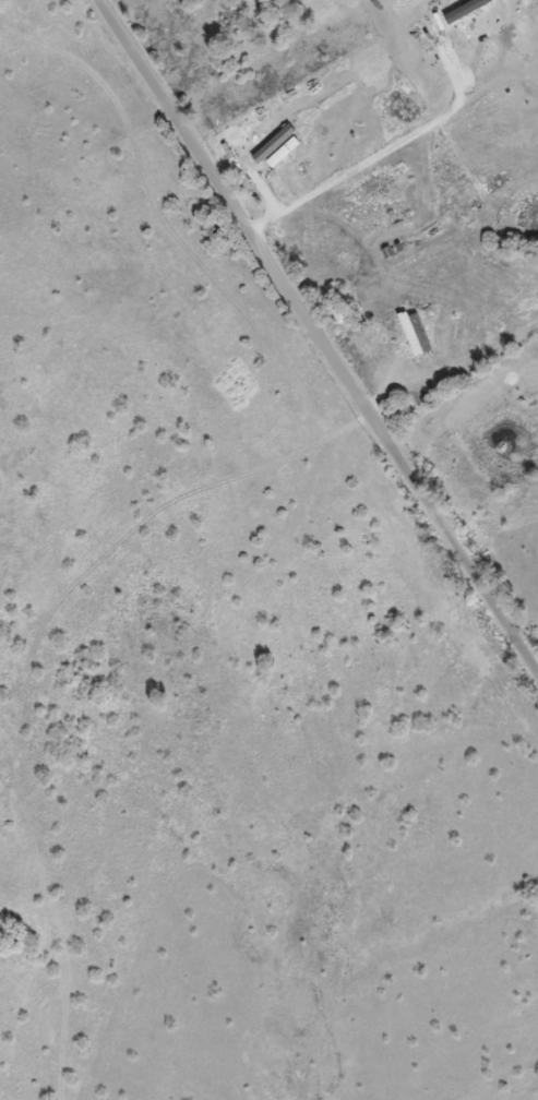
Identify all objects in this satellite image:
building: (357, 191)
road: (316, 340)
road: (461, 405)

